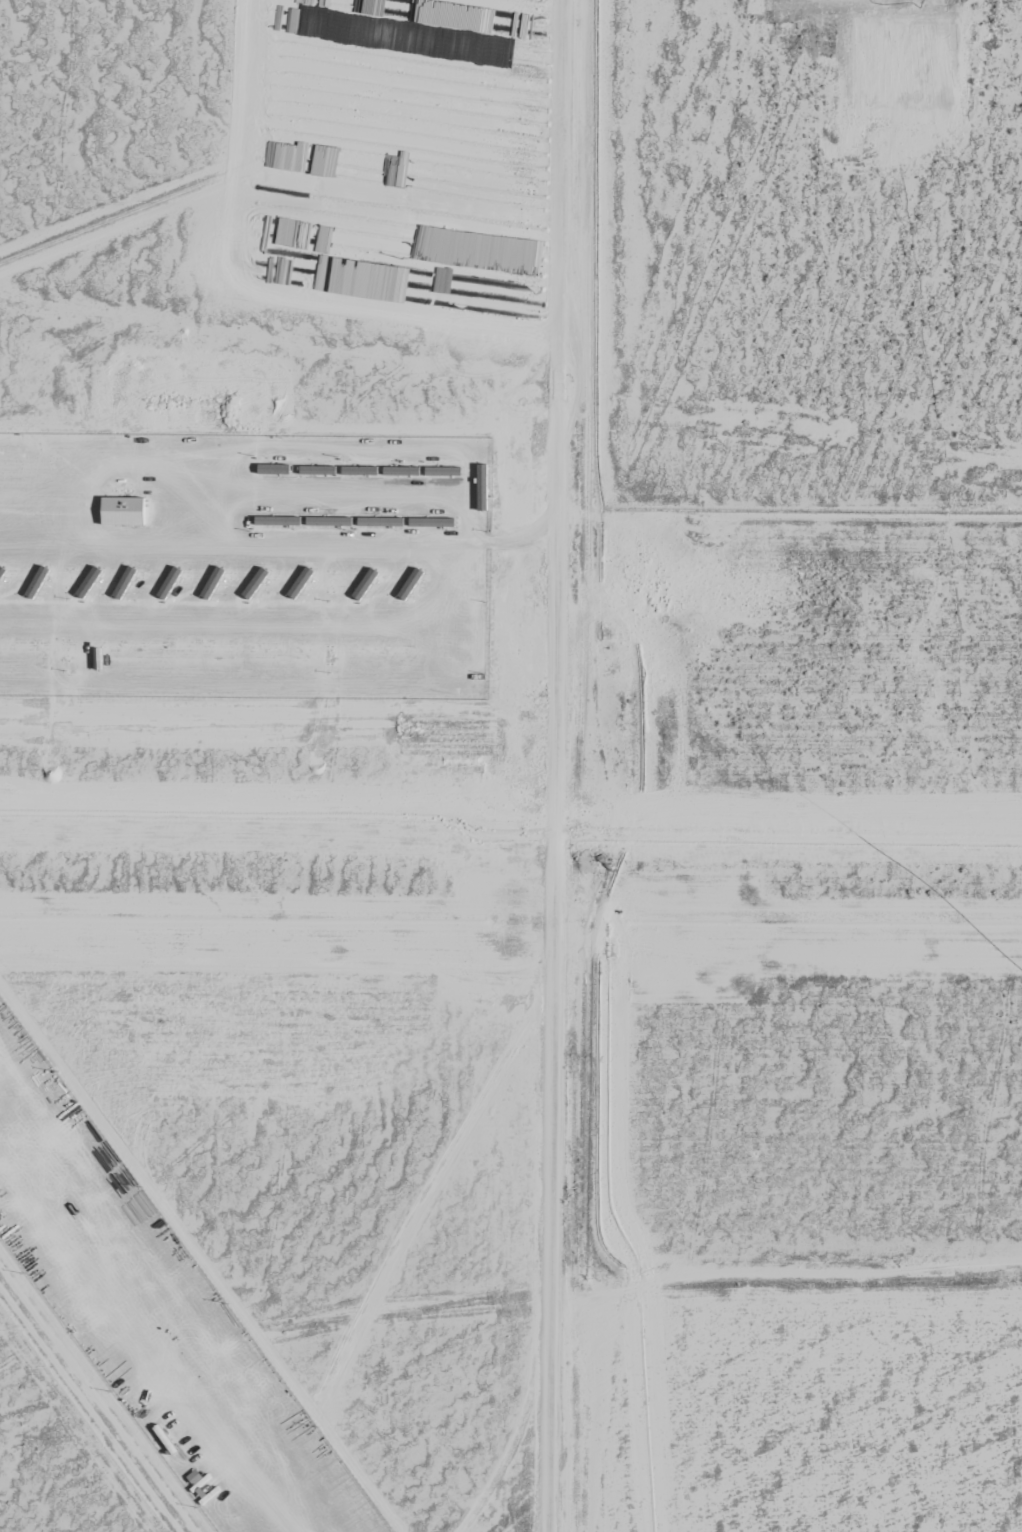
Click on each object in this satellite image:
building: (513, 301)
building: (124, 513)
road: (555, 865)
road: (548, 1404)

